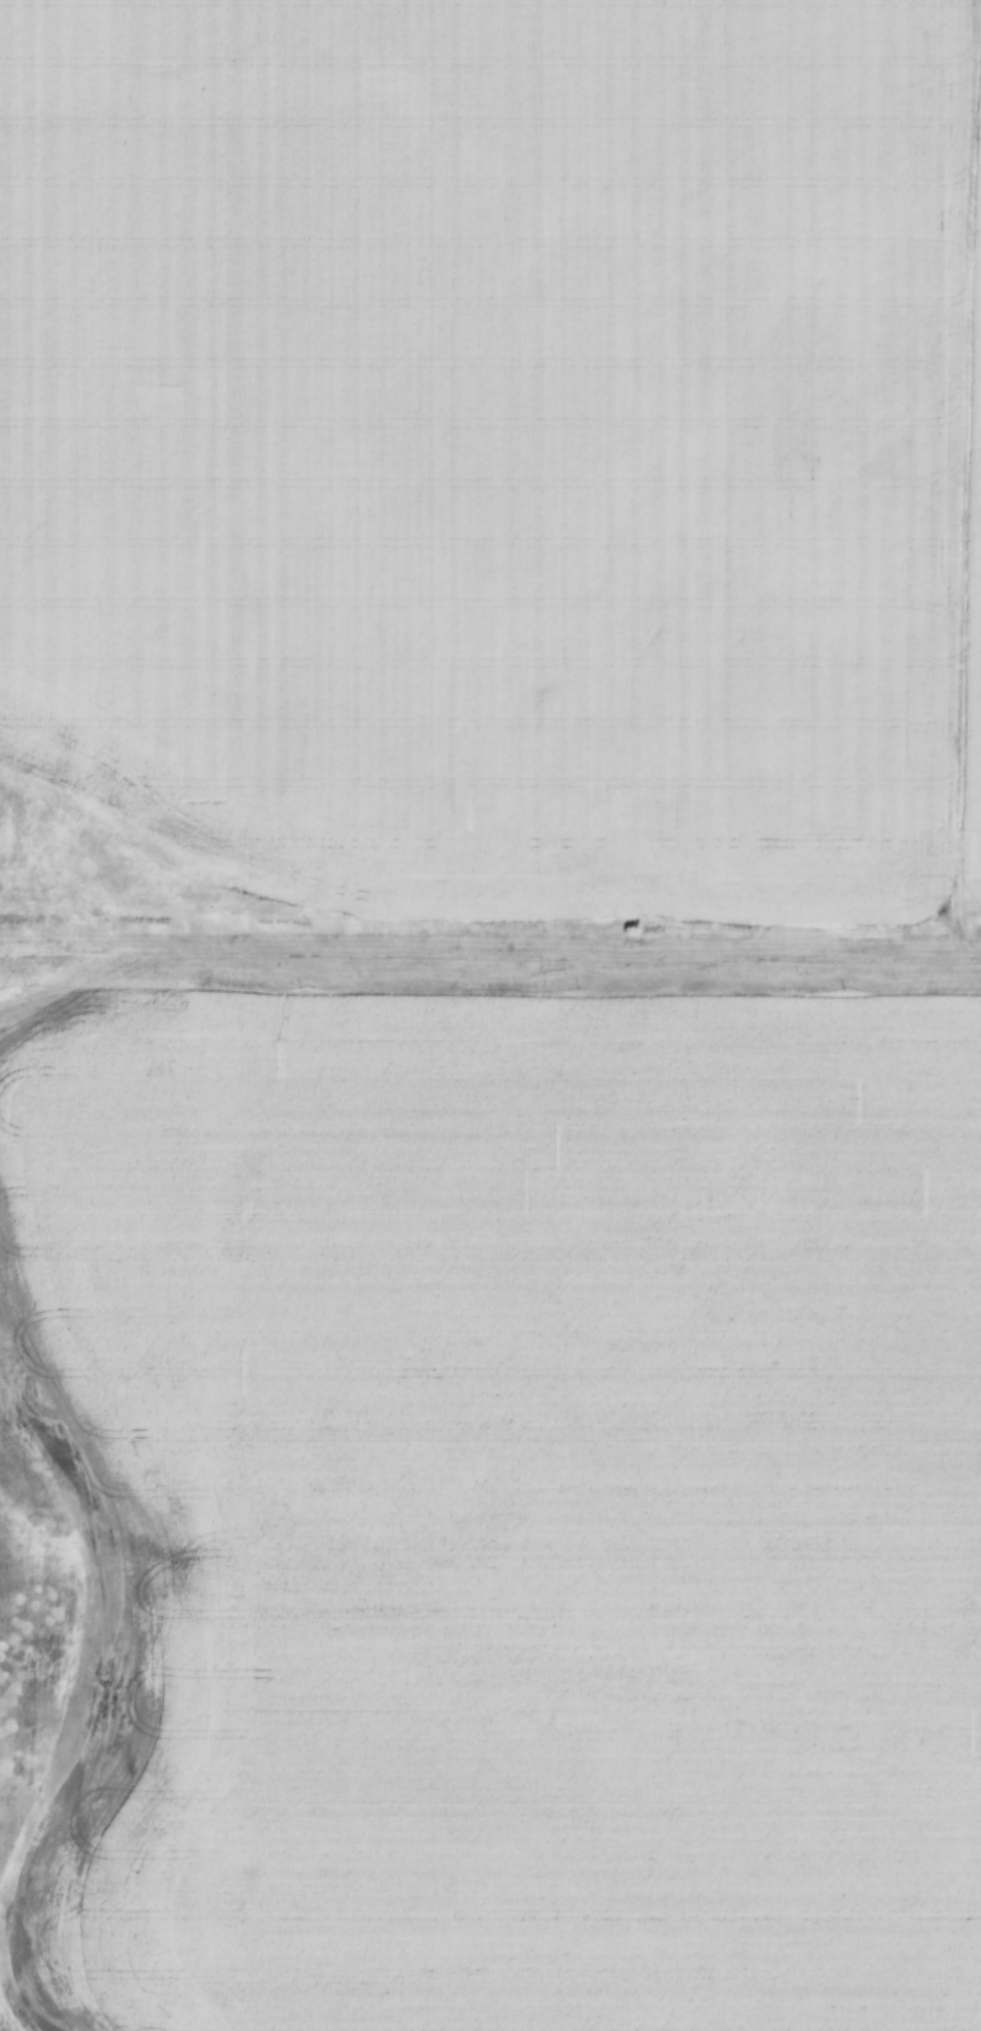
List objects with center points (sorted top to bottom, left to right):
road: (492, 917)

